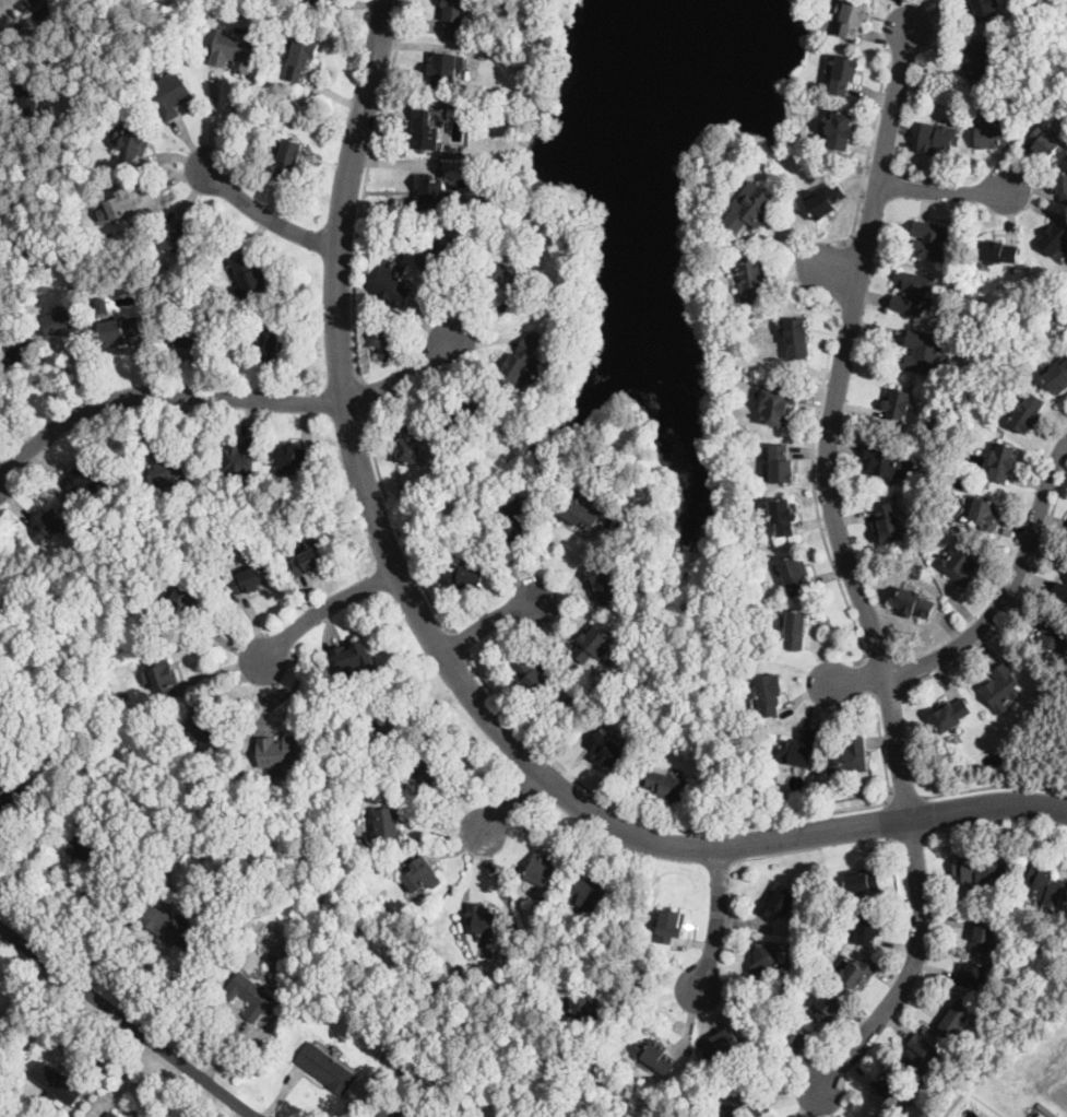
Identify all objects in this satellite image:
building: (37, 2)
building: (320, 4)
building: (986, 9)
building: (854, 15)
building: (455, 17)
building: (235, 50)
building: (303, 59)
building: (979, 60)
building: (448, 70)
building: (845, 74)
building: (173, 95)
building: (29, 97)
building: (426, 130)
building: (842, 130)
building: (991, 134)
building: (939, 139)
road: (869, 143)
building: (1045, 143)
building: (133, 144)
building: (288, 158)
building: (7, 184)
road: (364, 186)
building: (1062, 187)
road: (945, 189)
building: (435, 190)
building: (825, 201)
building: (126, 205)
building: (752, 208)
building: (103, 214)
road: (269, 216)
building: (180, 237)
building: (1054, 238)
building: (932, 240)
building: (998, 252)
building: (440, 260)
road: (842, 268)
road: (838, 269)
building: (509, 274)
building: (250, 278)
building: (751, 281)
building: (393, 287)
building: (914, 294)
building: (103, 305)
building: (62, 322)
building: (187, 328)
building: (1046, 328)
building: (120, 329)
building: (796, 337)
building: (270, 346)
building: (924, 353)
building: (17, 357)
building: (522, 360)
building: (1057, 377)
road: (363, 391)
road: (221, 393)
building: (779, 404)
building: (899, 408)
building: (472, 409)
building: (1029, 413)
road: (832, 425)
building: (410, 444)
building: (295, 457)
building: (240, 459)
building: (887, 460)
building: (1004, 462)
building: (782, 465)
building: (167, 466)
building: (83, 475)
building: (618, 479)
road: (813, 479)
building: (579, 514)
building: (986, 515)
building: (785, 516)
building: (518, 519)
road: (396, 521)
building: (889, 524)
building: (48, 526)
building: (309, 562)
building: (962, 563)
building: (796, 574)
building: (465, 576)
building: (249, 580)
building: (604, 585)
road: (1011, 585)
building: (1060, 590)
road: (1016, 602)
building: (915, 603)
building: (185, 604)
road: (324, 609)
road: (489, 621)
building: (796, 630)
building: (1052, 634)
road: (460, 643)
building: (594, 645)
building: (355, 662)
road: (451, 665)
road: (865, 675)
building: (164, 677)
building: (531, 677)
road: (858, 678)
building: (1001, 689)
road: (887, 691)
building: (770, 694)
building: (83, 704)
building: (577, 704)
building: (951, 715)
building: (395, 720)
building: (204, 730)
building: (799, 749)
building: (607, 750)
building: (280, 754)
building: (850, 757)
building: (428, 765)
building: (389, 767)
building: (769, 774)
road: (995, 784)
building: (671, 786)
road: (905, 793)
building: (10, 801)
road: (510, 802)
building: (389, 825)
road: (699, 827)
building: (115, 846)
building: (122, 851)
building: (85, 854)
building: (165, 862)
building: (380, 866)
building: (544, 870)
building: (977, 873)
building: (423, 875)
building: (863, 881)
building: (100, 886)
building: (1046, 886)
building: (590, 893)
building: (780, 902)
road: (715, 918)
building: (484, 921)
building: (671, 927)
building: (169, 928)
building: (868, 928)
building: (608, 936)
building: (985, 936)
building: (822, 943)
building: (1021, 956)
building: (768, 960)
building: (461, 966)
road: (911, 968)
building: (858, 973)
building: (972, 976)
building: (1021, 983)
building: (251, 996)
building: (585, 1006)
building: (831, 1007)
building: (956, 1018)
road: (127, 1021)
building: (799, 1036)
building: (721, 1043)
building: (923, 1054)
building: (659, 1057)
building: (328, 1069)
building: (57, 1082)
building: (894, 1094)
building: (739, 1105)
building: (394, 1112)
building: (112, 1115)
building: (870, 1116)

